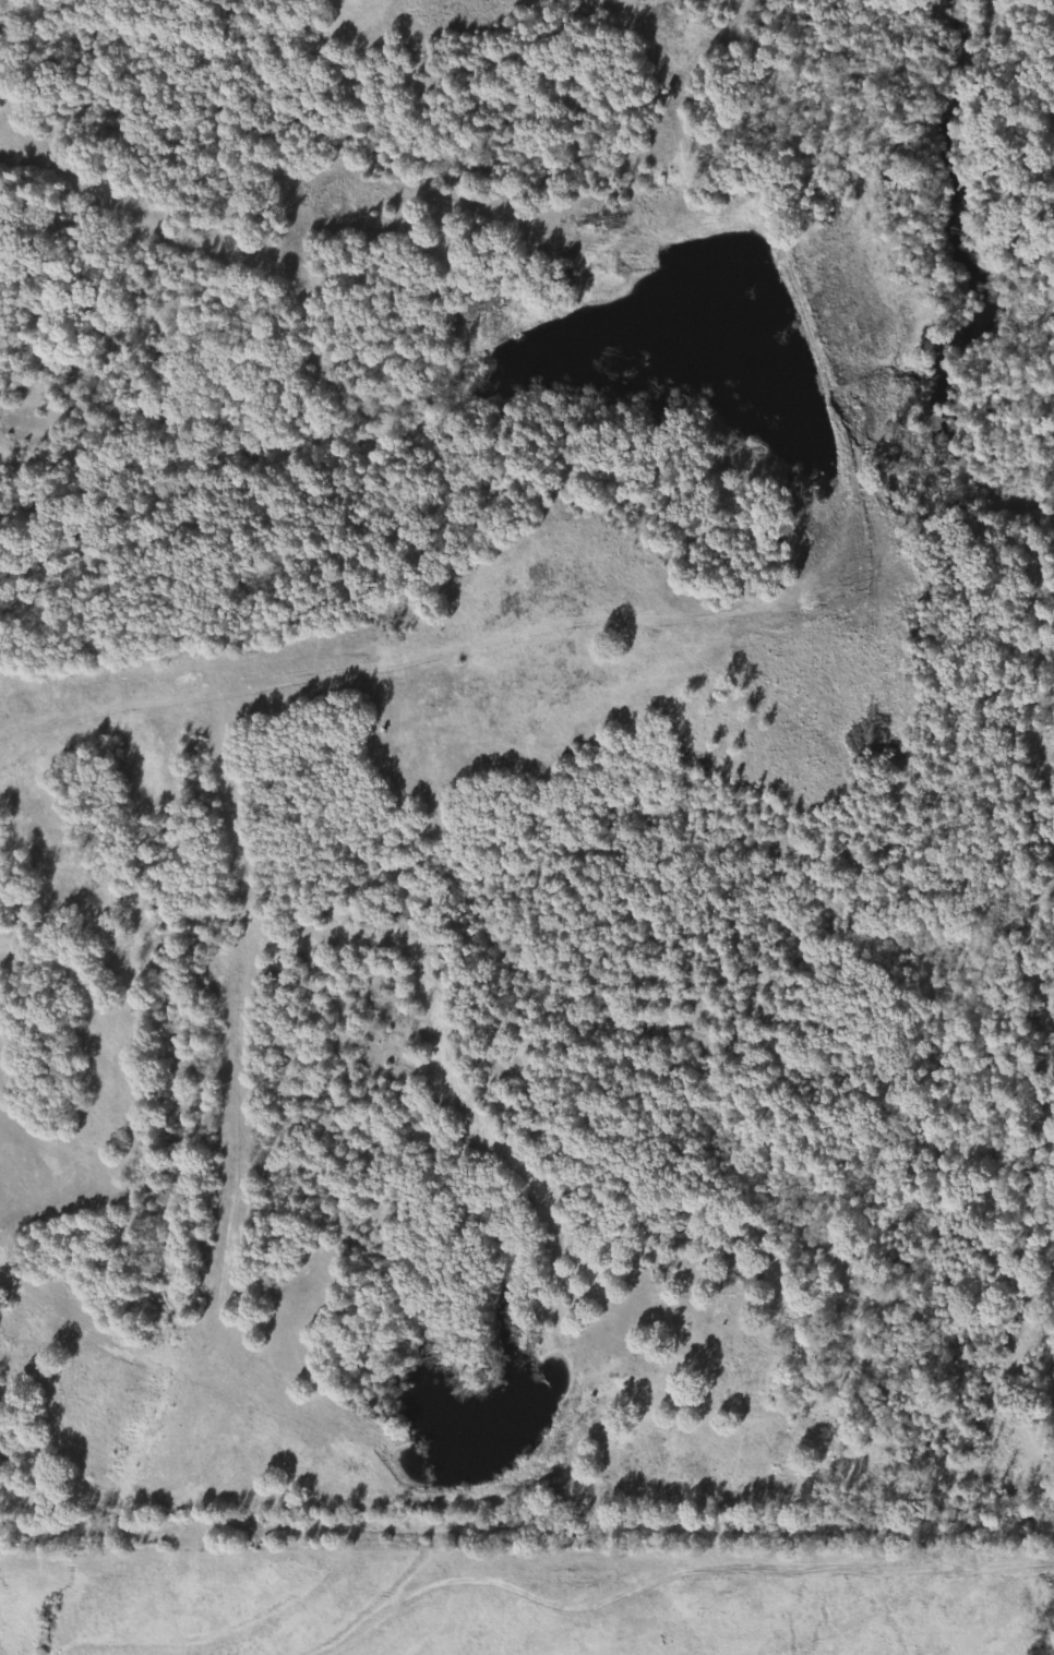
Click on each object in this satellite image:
road: (526, 1532)

